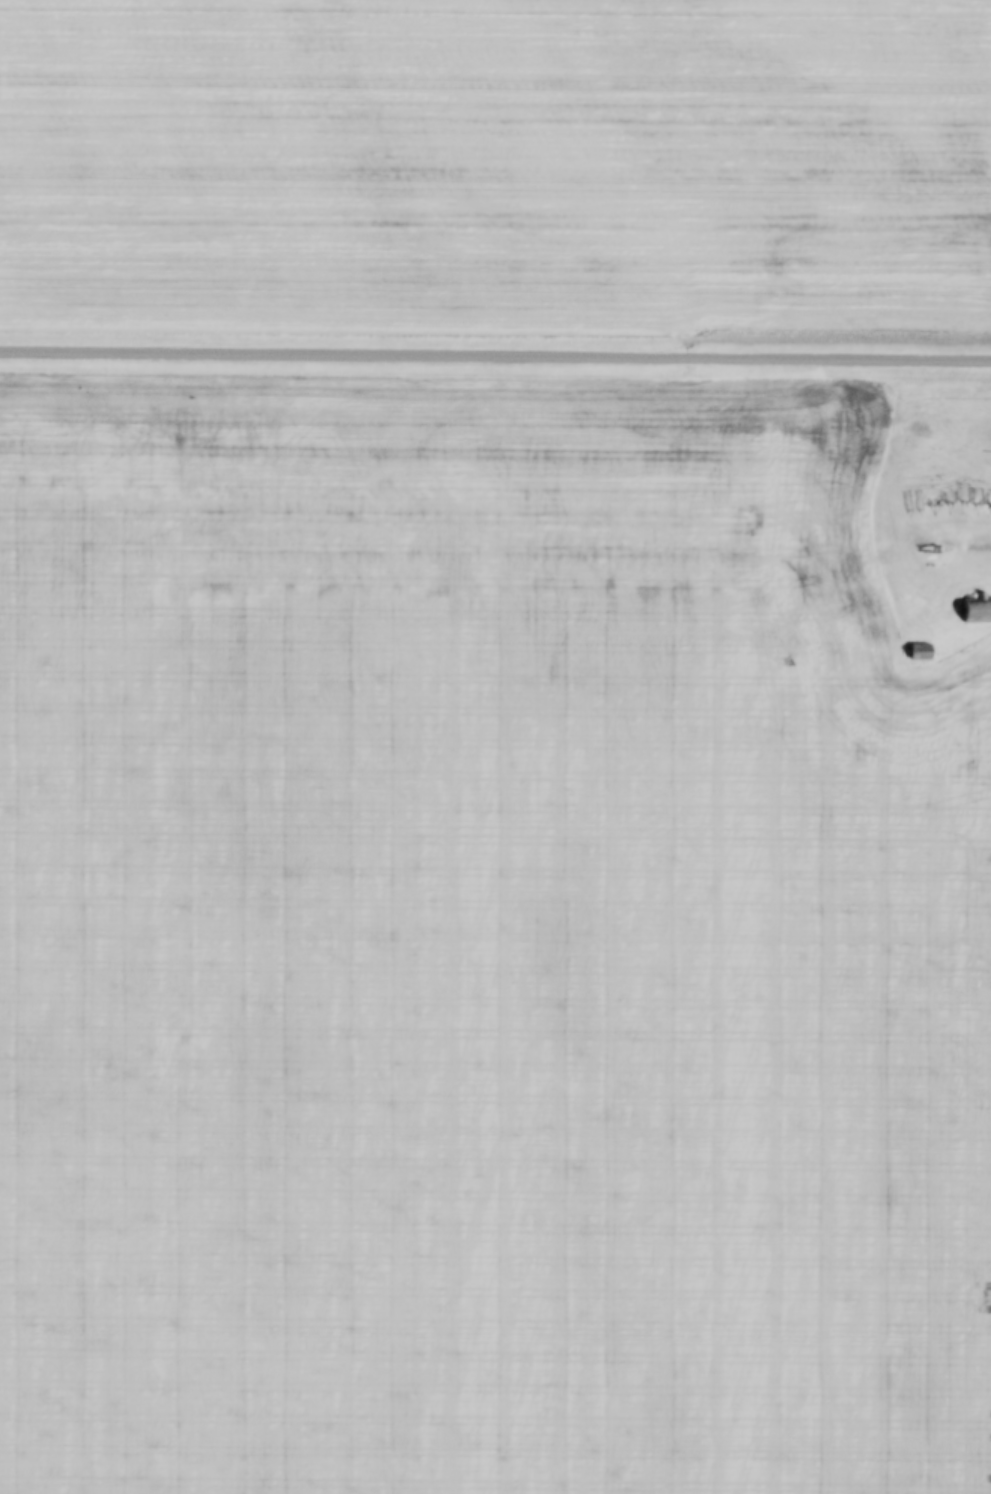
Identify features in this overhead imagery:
road: (495, 357)
road: (979, 550)
building: (977, 607)

